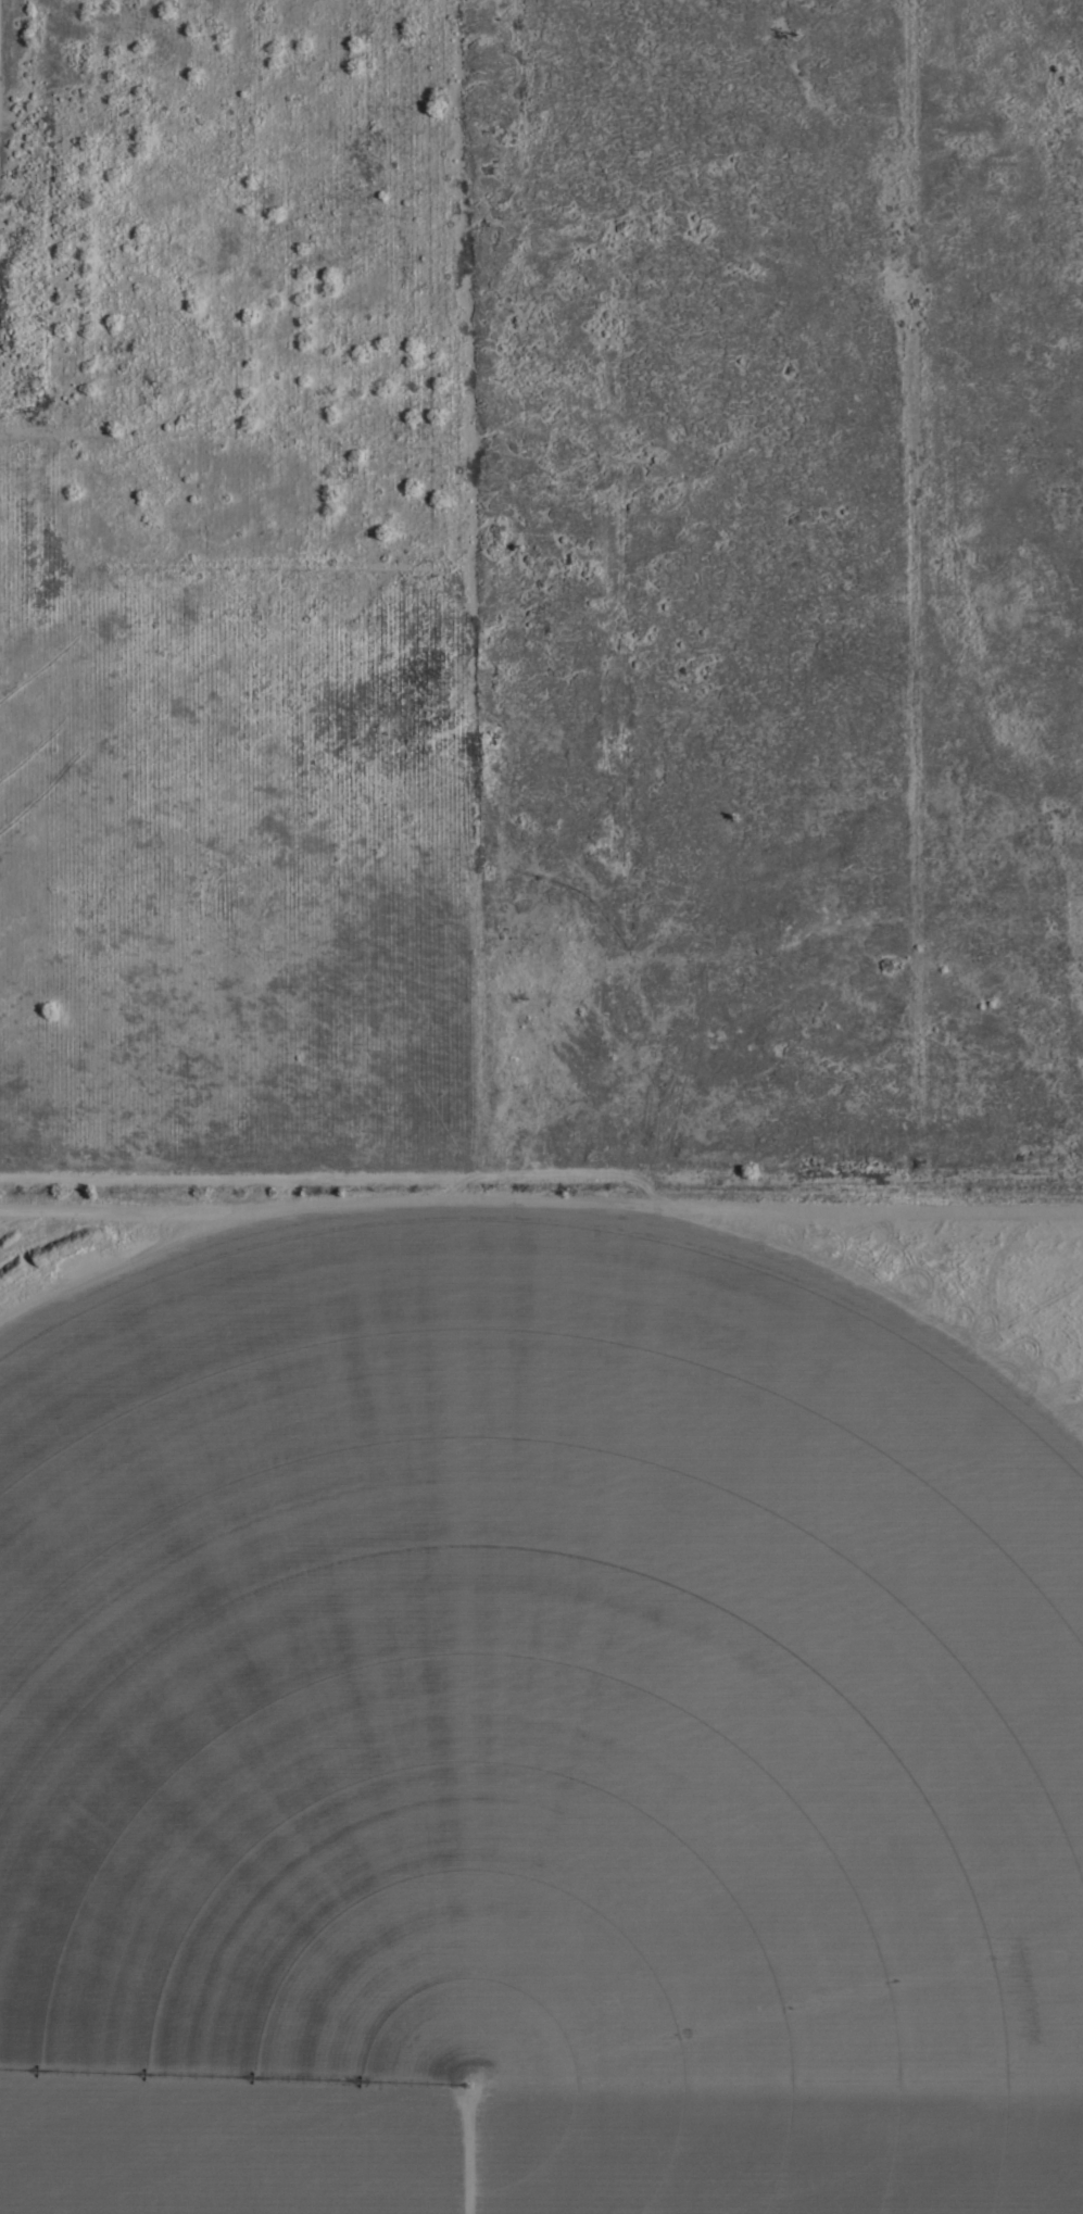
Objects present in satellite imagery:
crop: (443, 1316)

